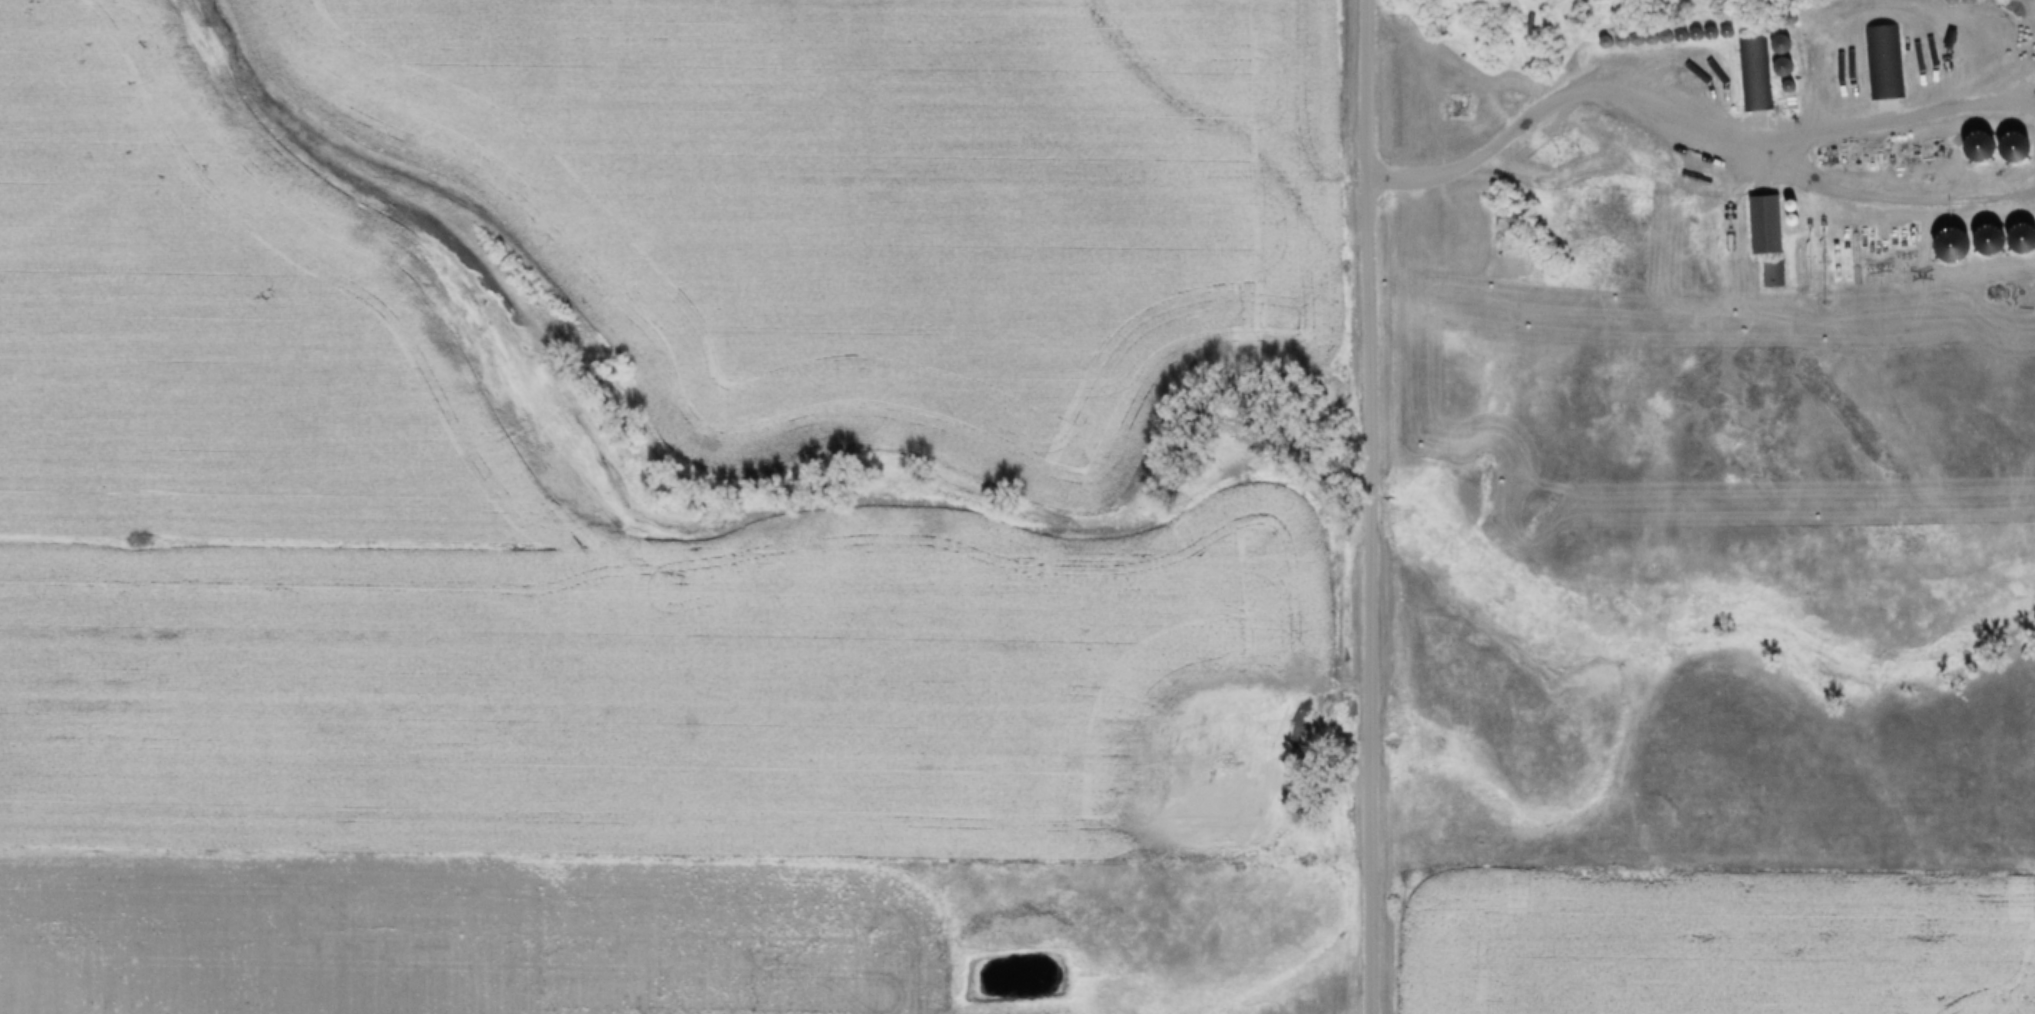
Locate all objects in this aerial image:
building: (1885, 61)
building: (1751, 74)
building: (1770, 222)
road: (1376, 506)

